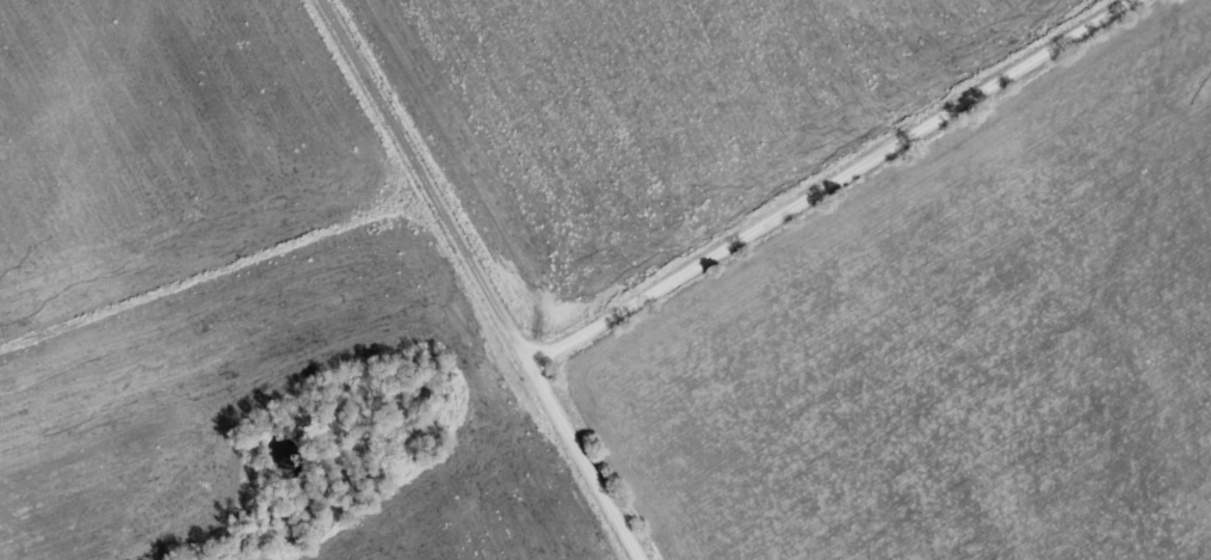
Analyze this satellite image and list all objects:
road: (433, 186)
road: (838, 187)
road: (587, 467)

